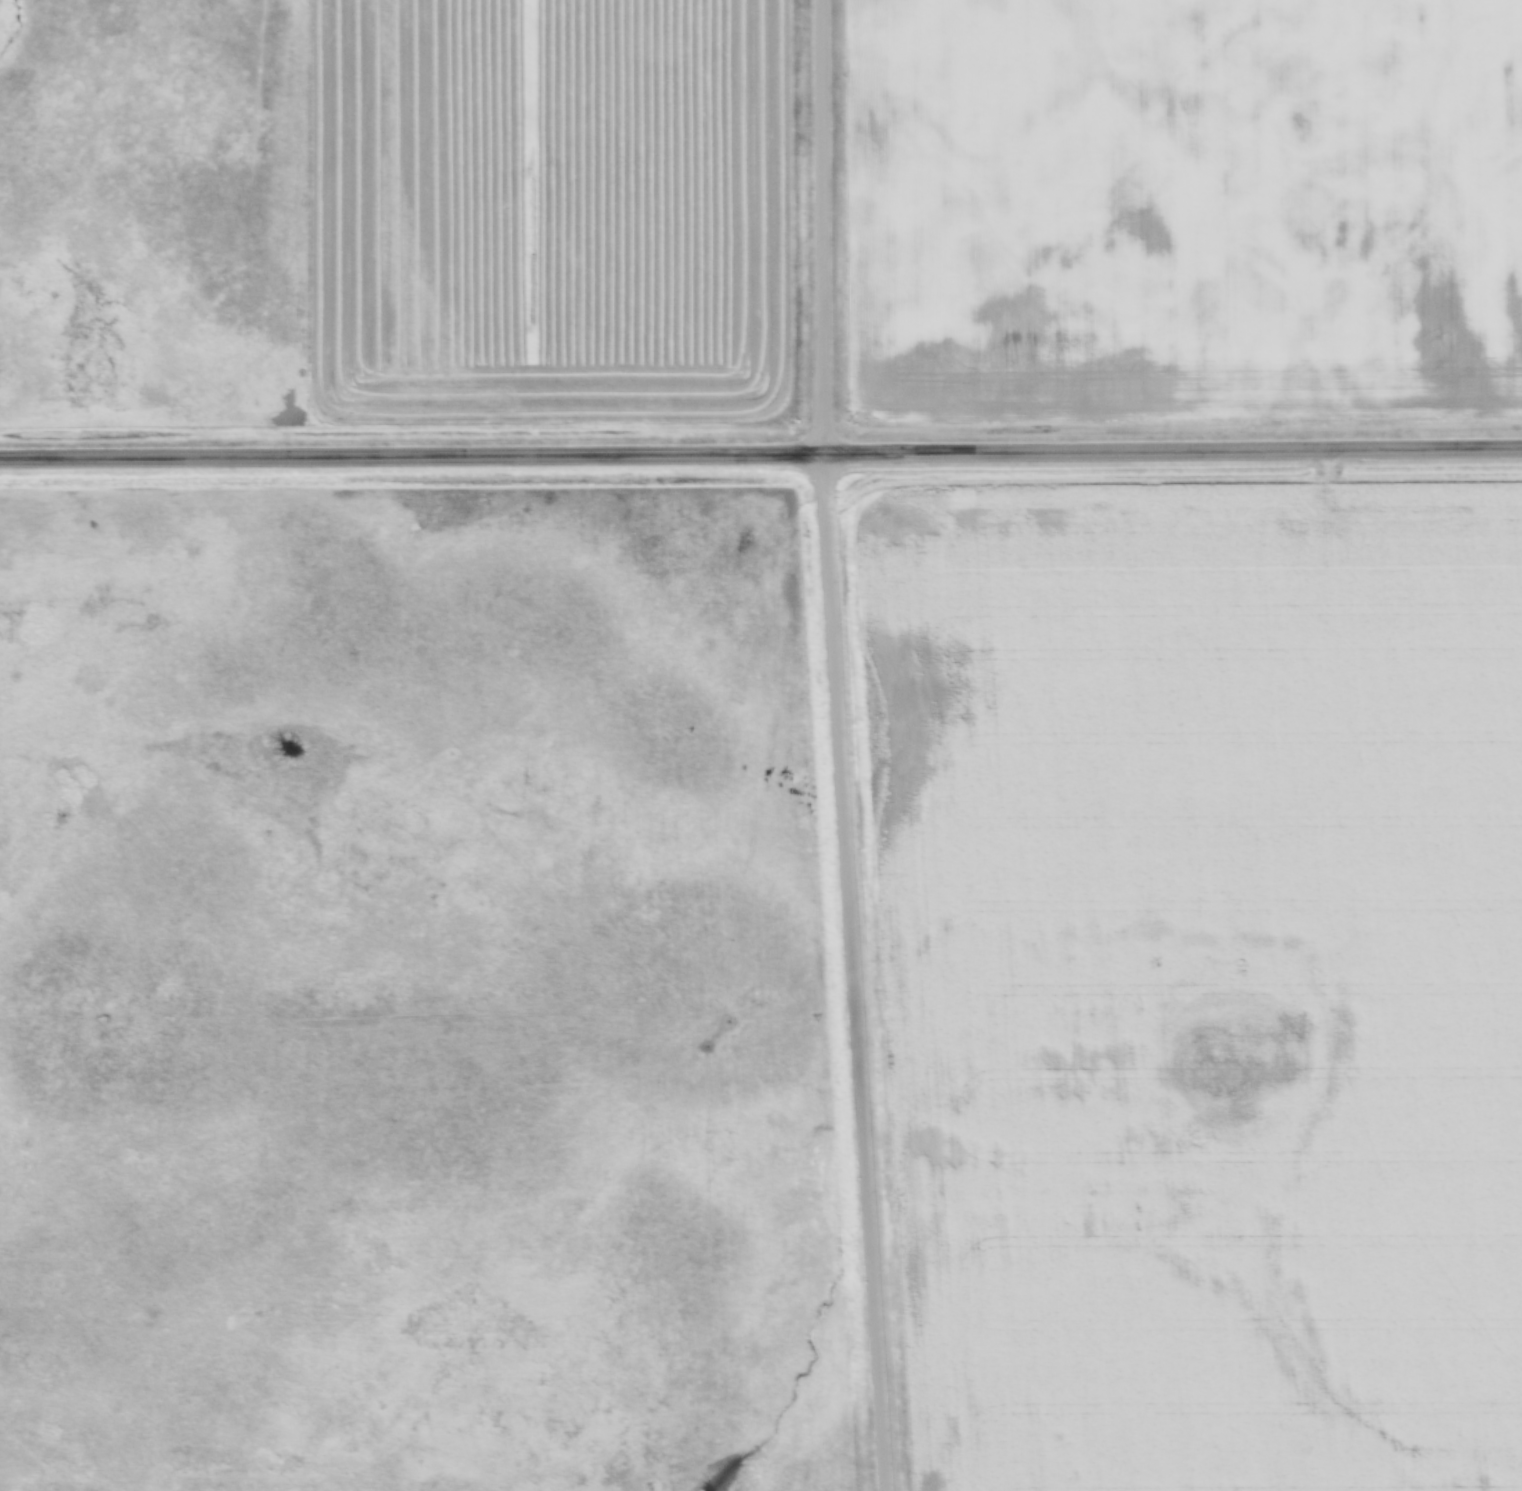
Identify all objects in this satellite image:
road: (760, 449)
road: (840, 746)

